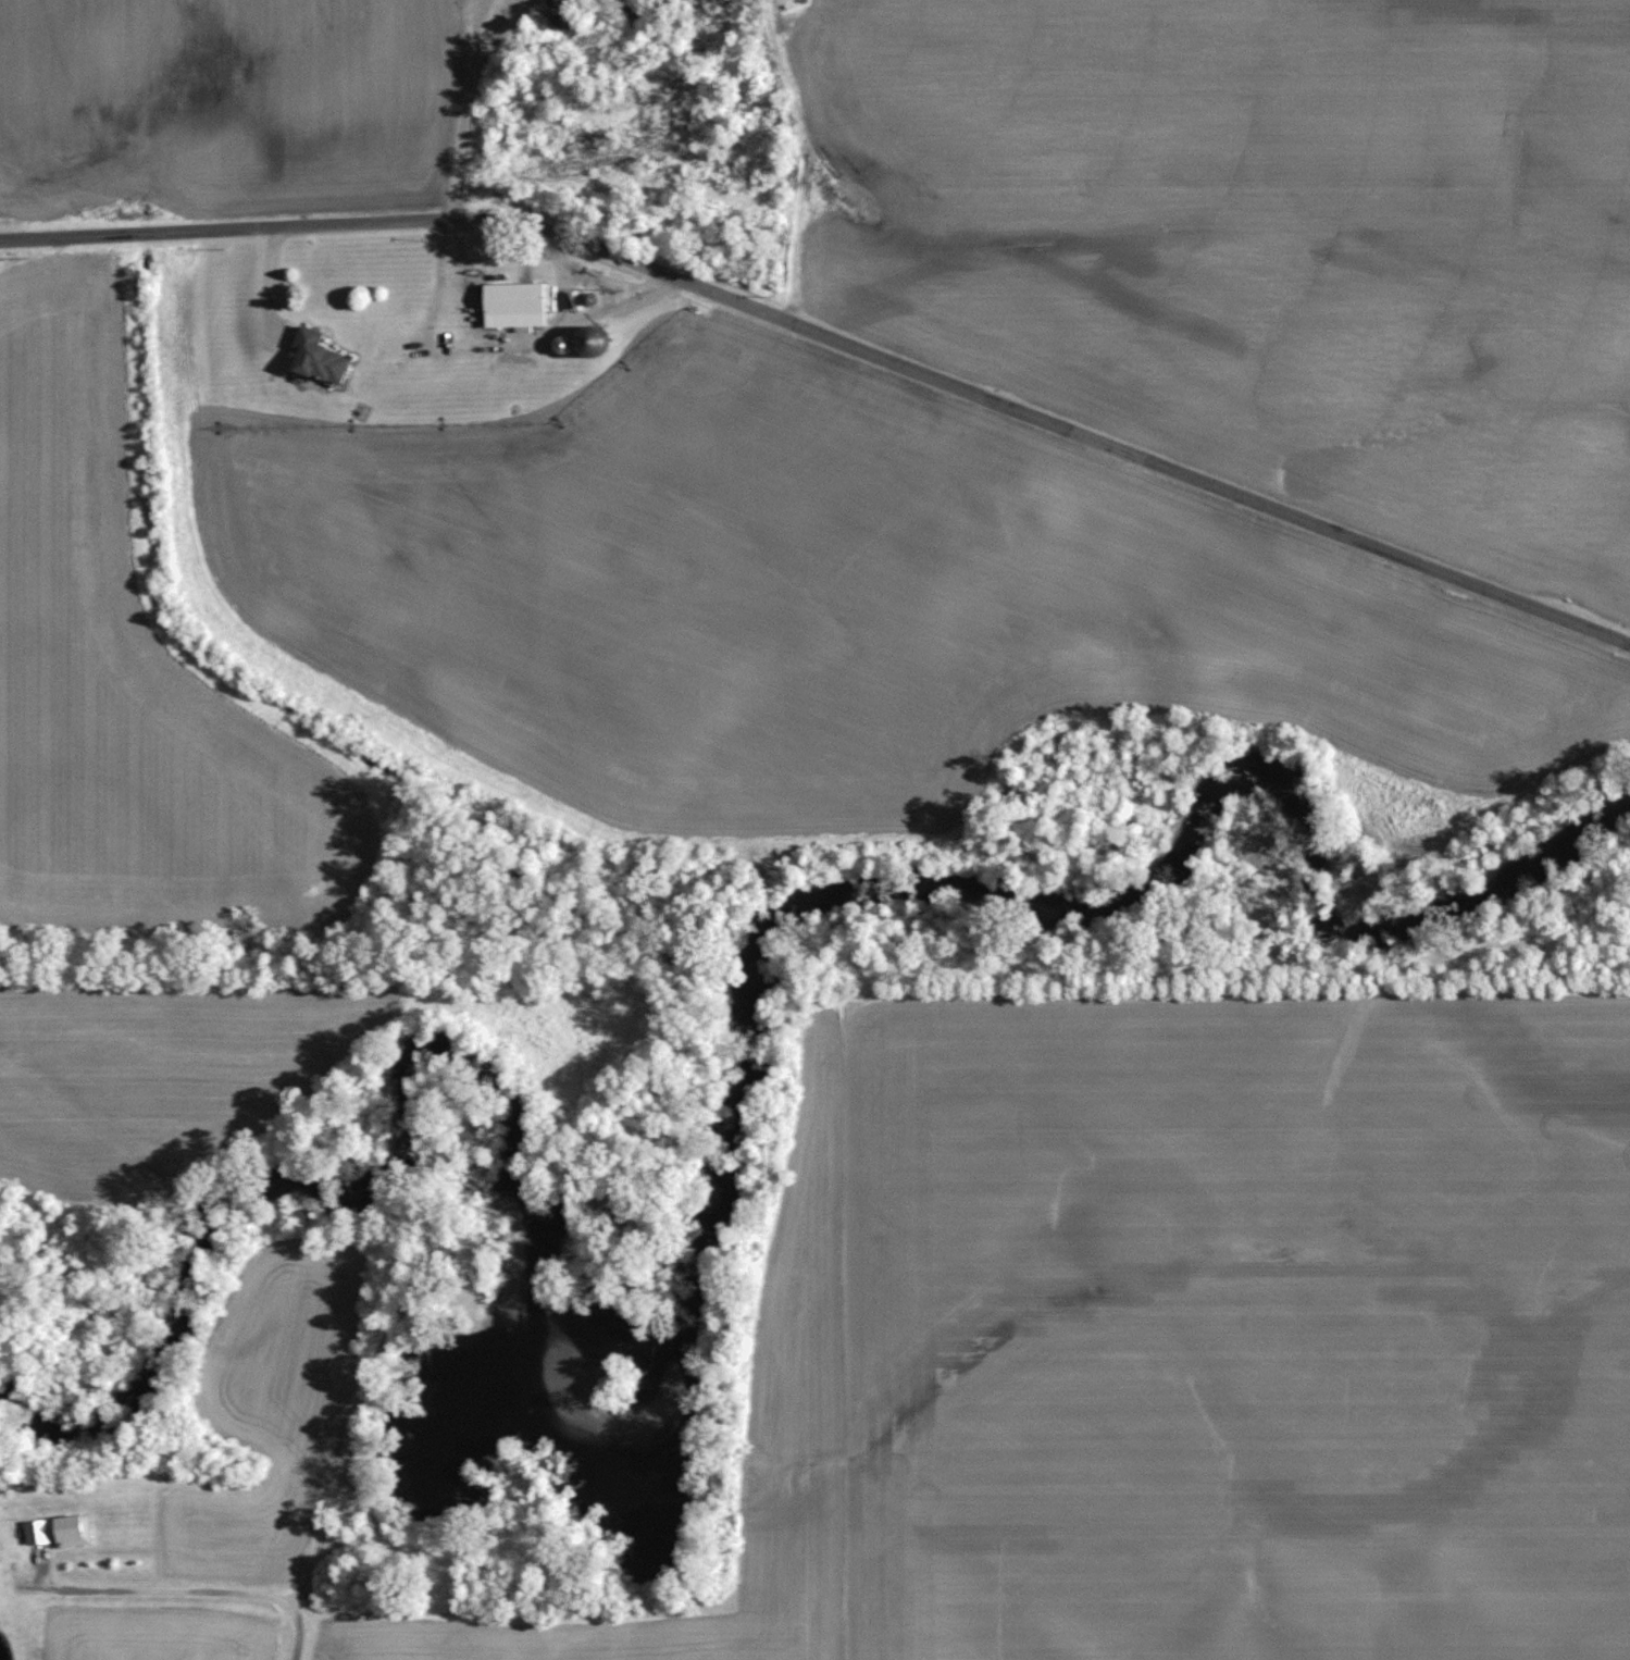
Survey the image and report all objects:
crop: (212, 94)
crop: (1256, 231)
road: (831, 339)
crop: (812, 602)
crop: (140, 666)
crop: (141, 1074)
crop: (1235, 1329)

